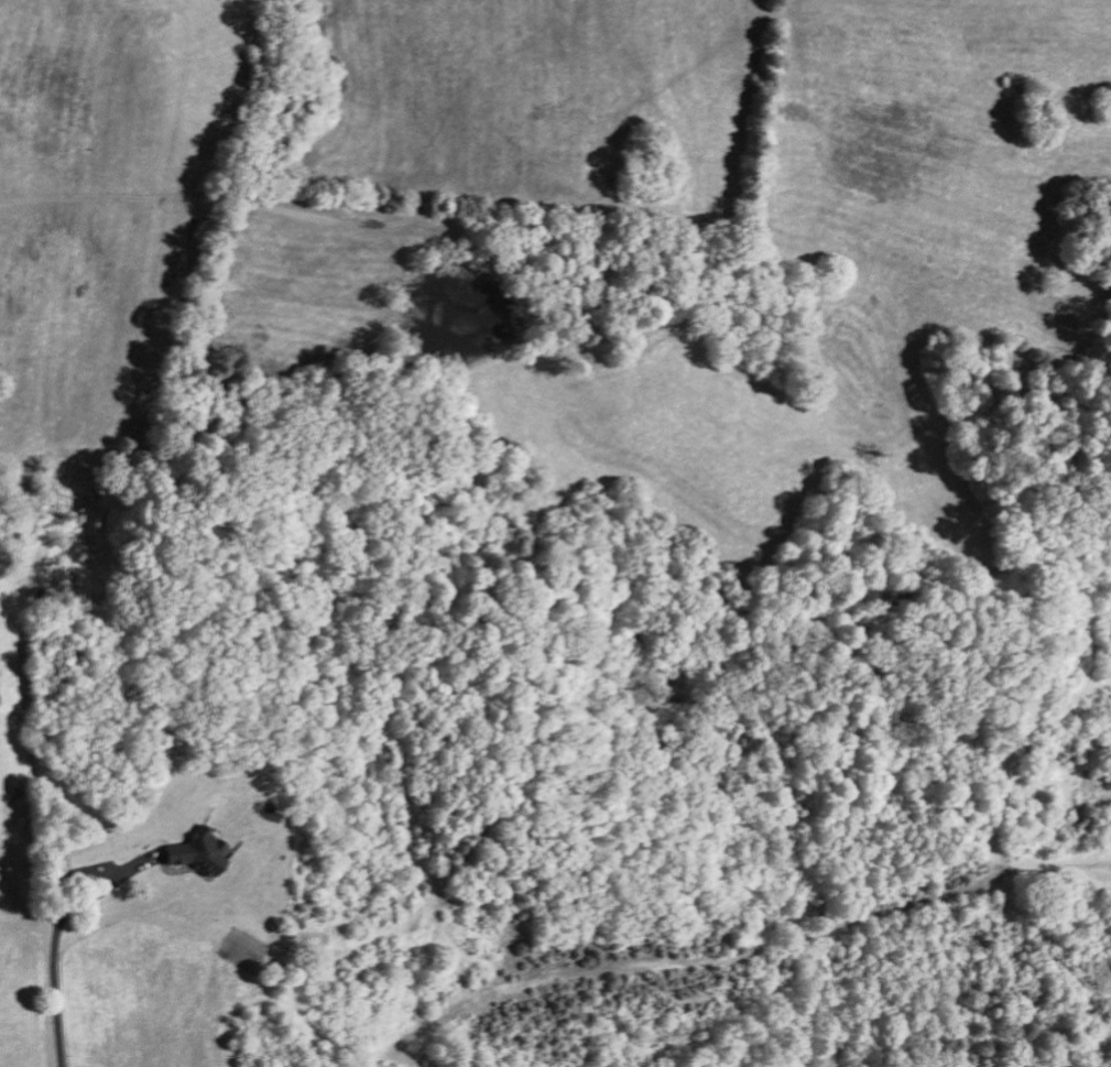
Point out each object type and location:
building: (198, 850)
road: (56, 998)

